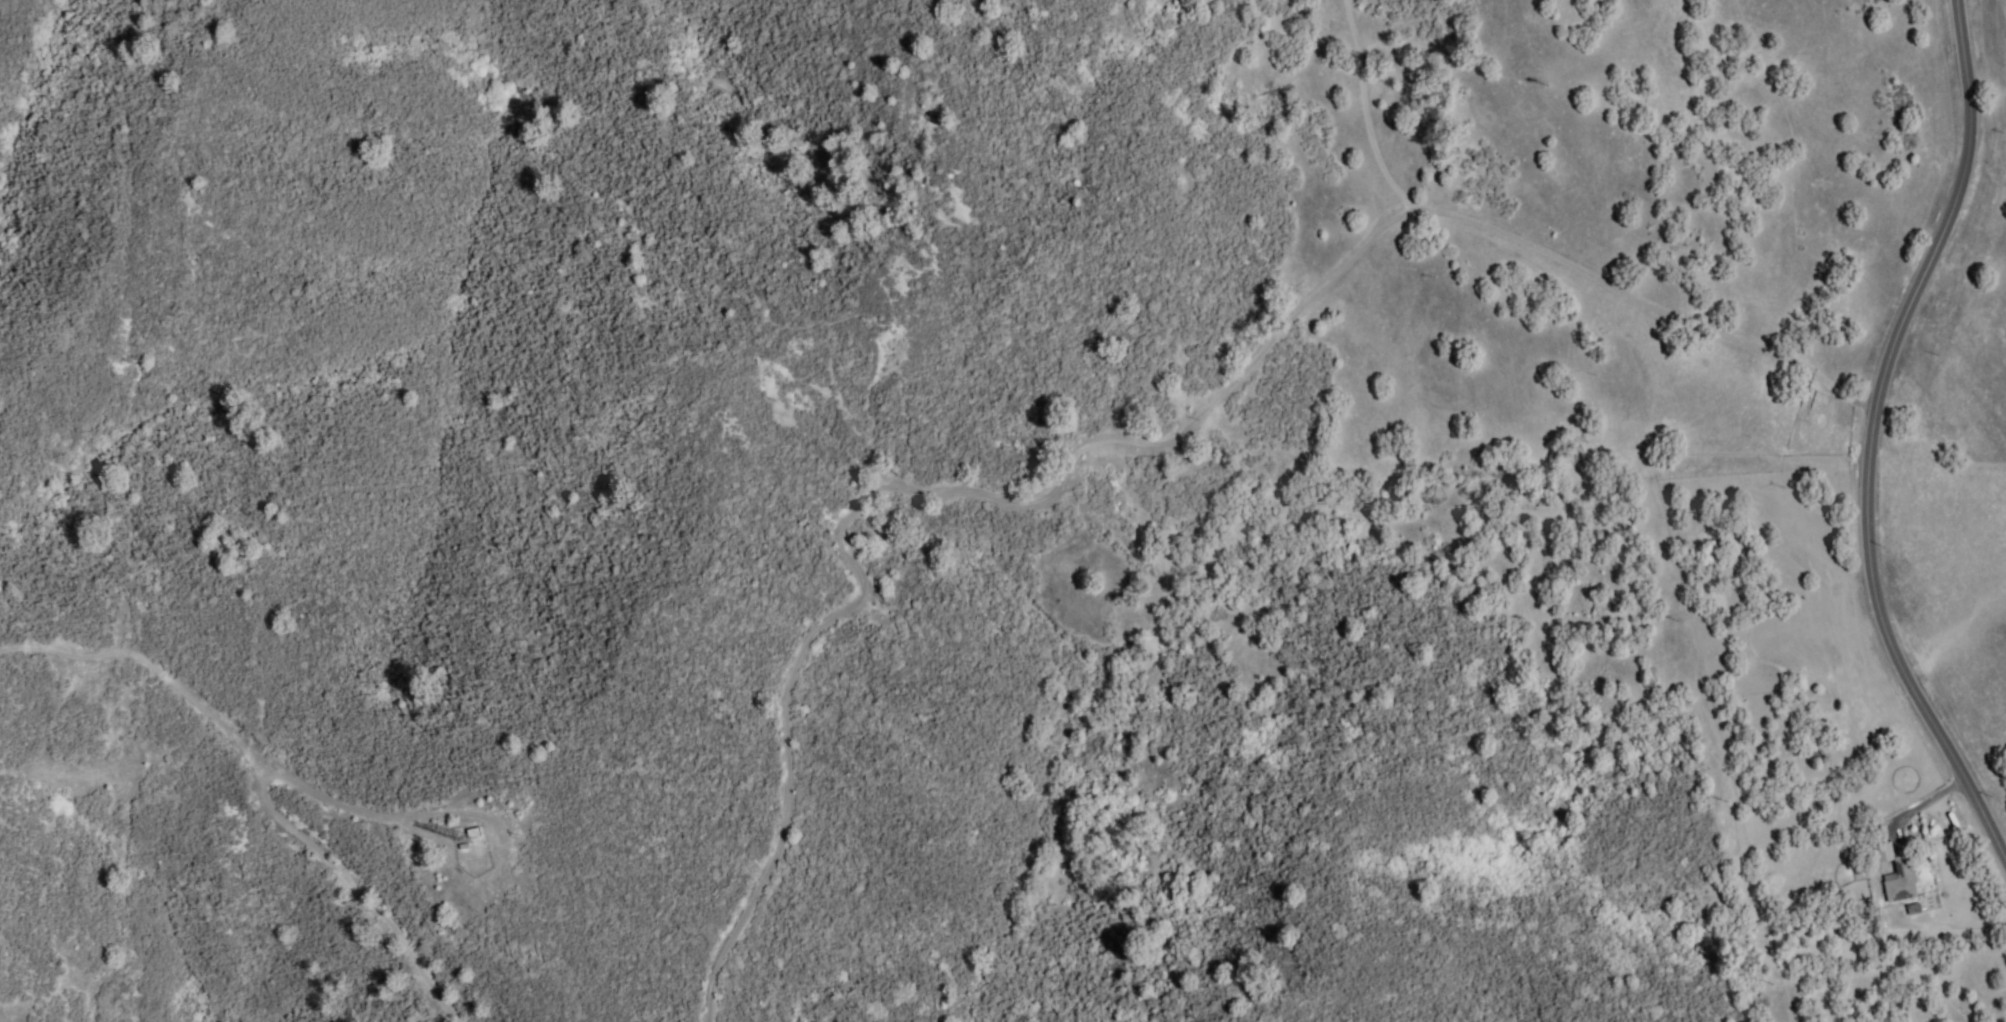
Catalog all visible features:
road: (1357, 108)
road: (1874, 435)
road: (1133, 436)
road: (1269, 480)
road: (149, 662)
road: (1710, 749)
road: (277, 793)
building: (1884, 853)
building: (1903, 881)

